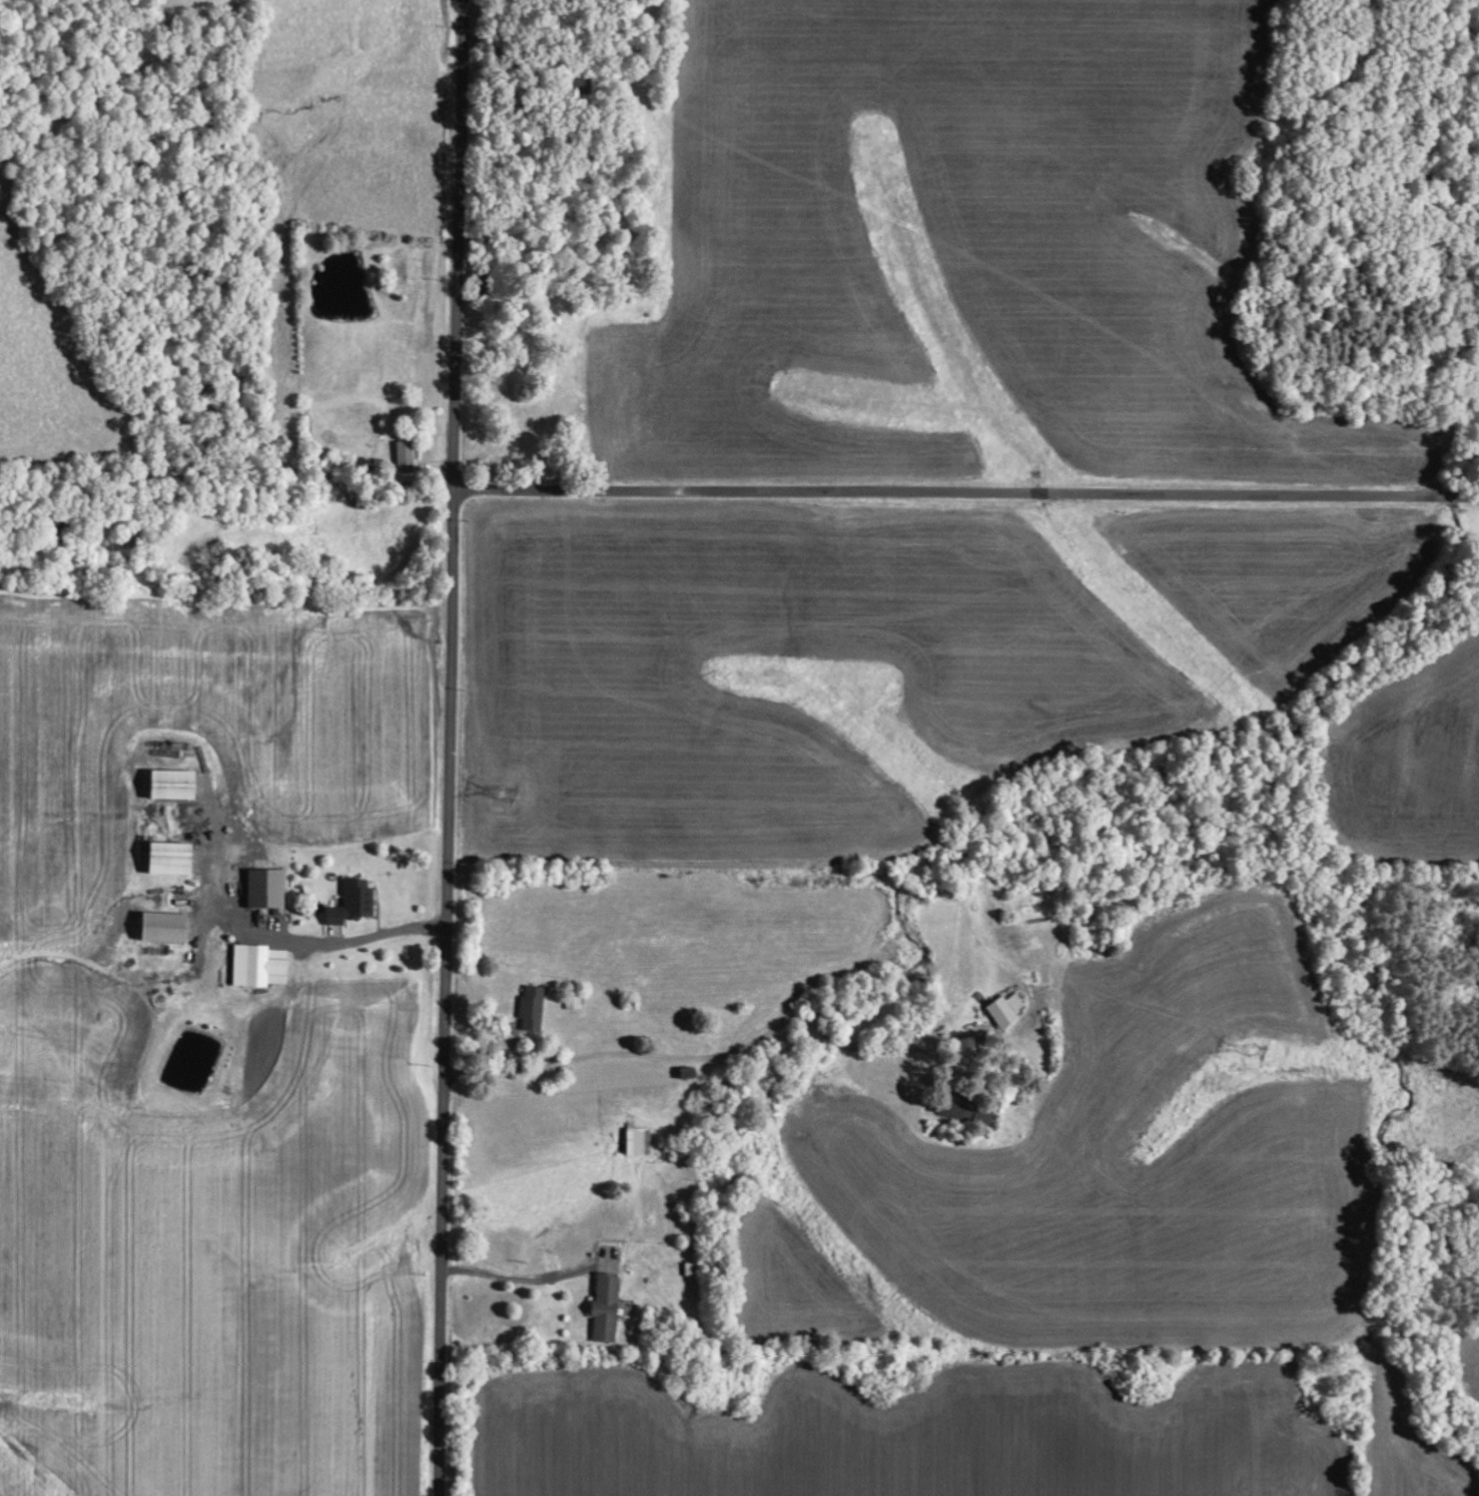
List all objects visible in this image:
building: (408, 455)
road: (967, 493)
road: (451, 747)
building: (176, 786)
power tower: (509, 795)
building: (174, 860)
building: (269, 890)
building: (356, 904)
building: (169, 929)
building: (262, 968)
building: (534, 1009)
building: (1008, 1012)
power tower: (1247, 1046)
building: (968, 1114)
building: (640, 1142)
building: (608, 1309)
road: (690, 1419)

